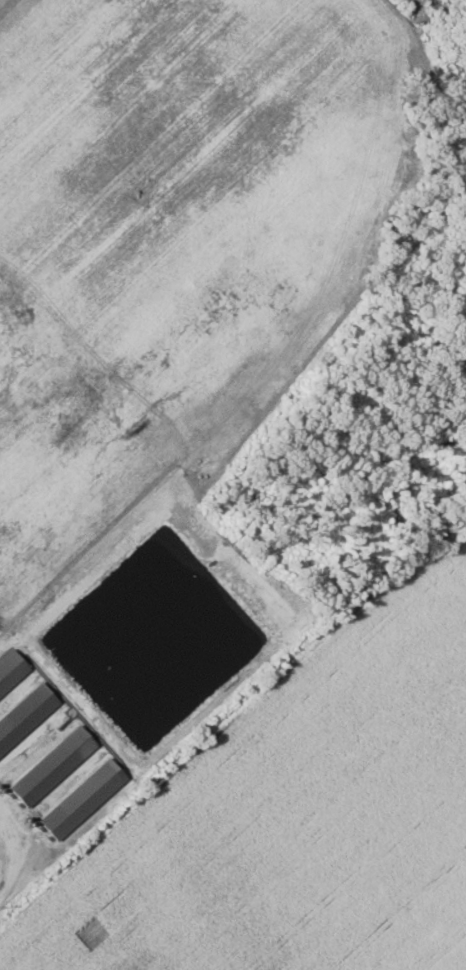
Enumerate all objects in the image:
building: (10, 670)
building: (25, 715)
building: (52, 766)
building: (82, 799)

